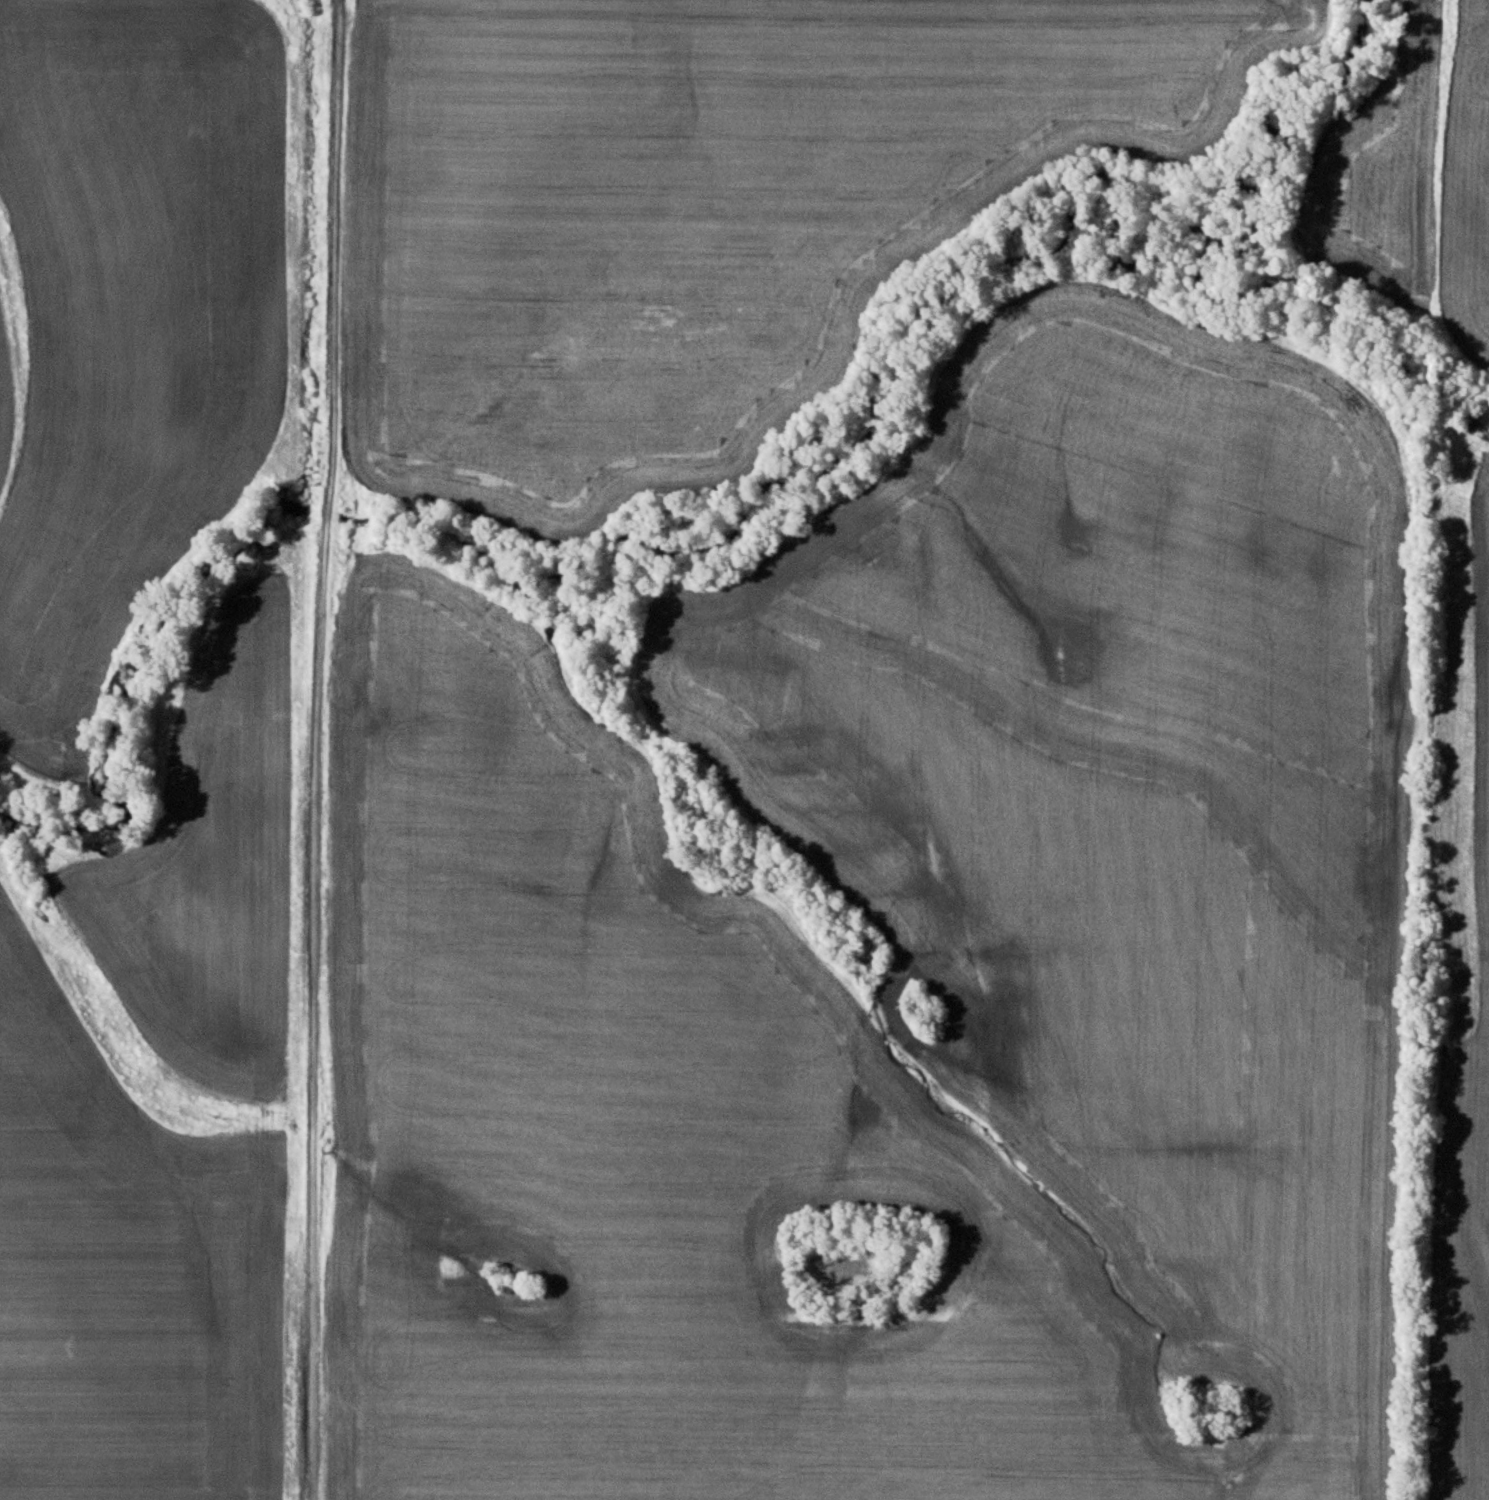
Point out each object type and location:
road: (319, 749)

